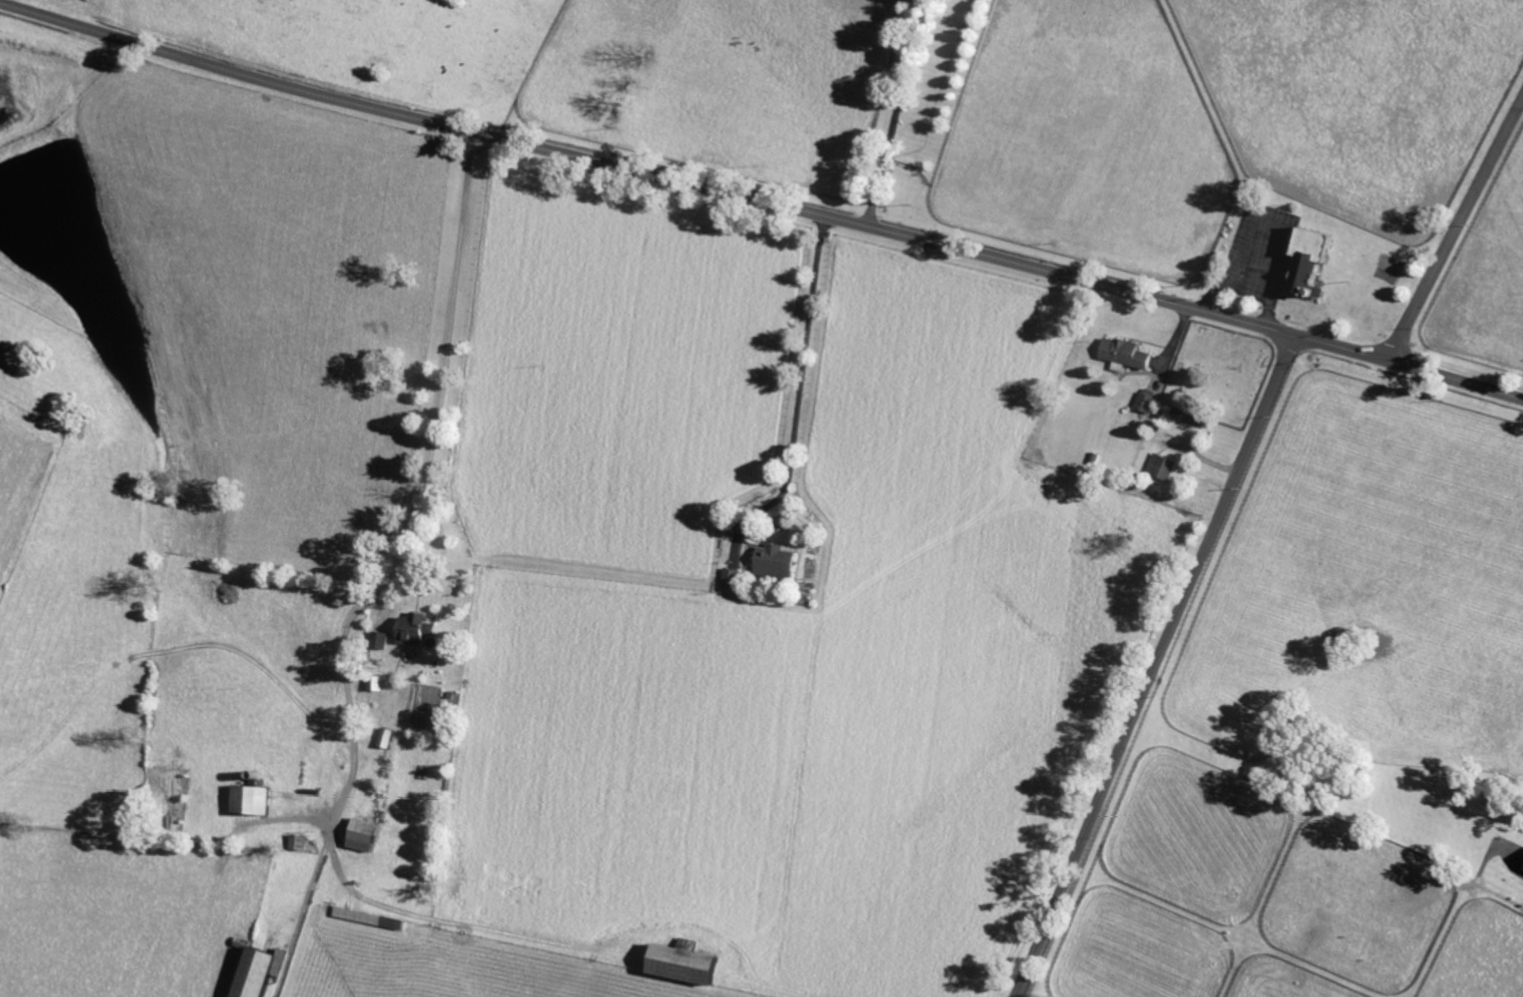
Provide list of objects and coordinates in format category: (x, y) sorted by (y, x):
road: (895, 114)
road: (760, 203)
road: (1456, 234)
building: (1304, 258)
building: (1120, 353)
park: (1219, 373)
road: (800, 393)
building: (1159, 466)
road: (418, 493)
building: (771, 561)
building: (412, 630)
building: (378, 640)
road: (1155, 666)
building: (246, 799)
building: (358, 834)
building: (1521, 866)
building: (683, 944)
building: (275, 962)
building: (673, 963)
building: (247, 973)

